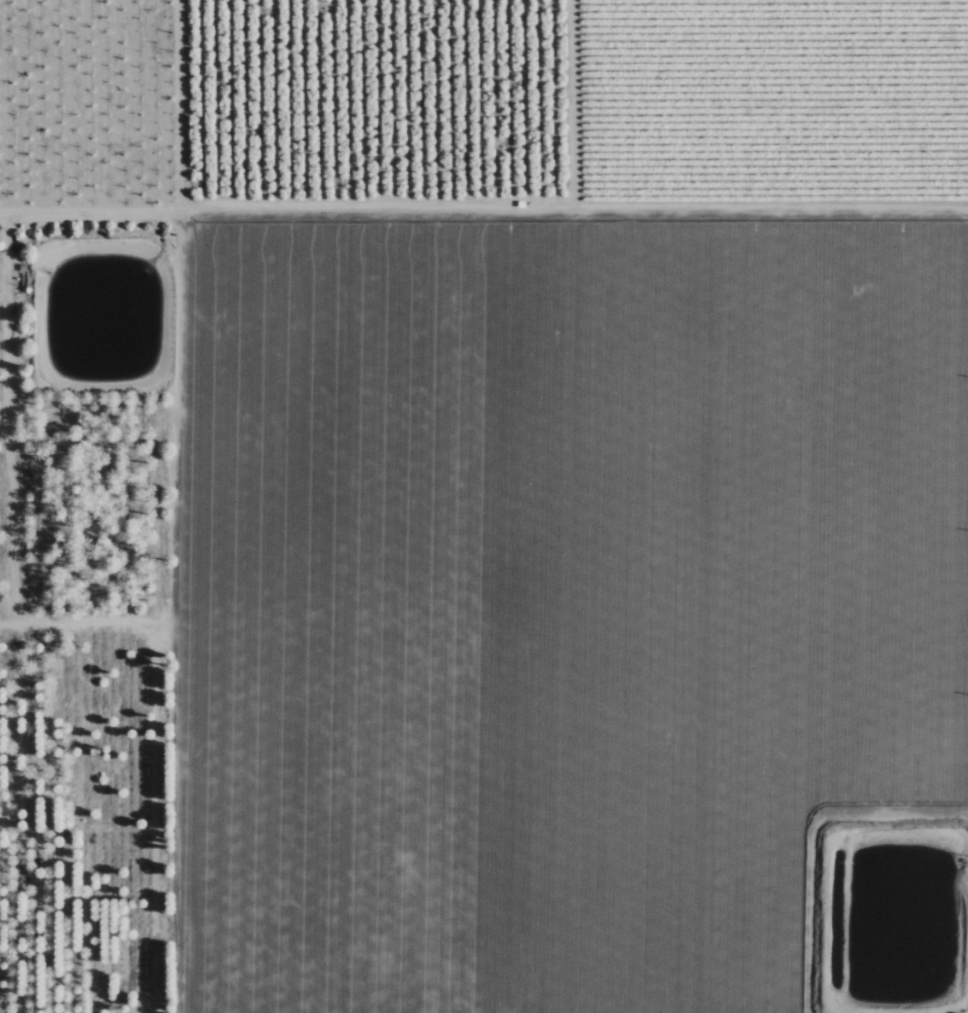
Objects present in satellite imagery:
road: (179, 107)
road: (483, 211)

